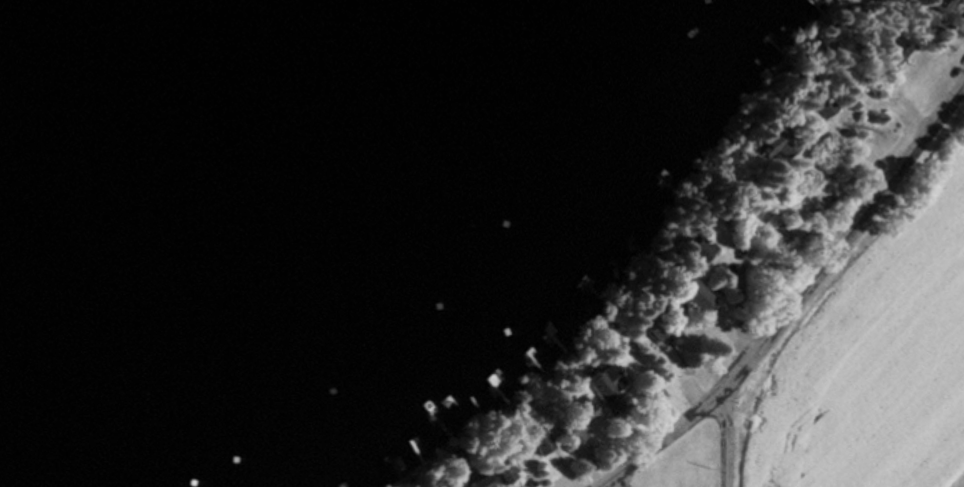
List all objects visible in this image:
building: (940, 9)
building: (897, 51)
building: (818, 103)
building: (775, 145)
building: (702, 254)
building: (690, 296)
road: (798, 302)
building: (604, 387)
building: (571, 423)
road: (727, 436)
building: (536, 444)

